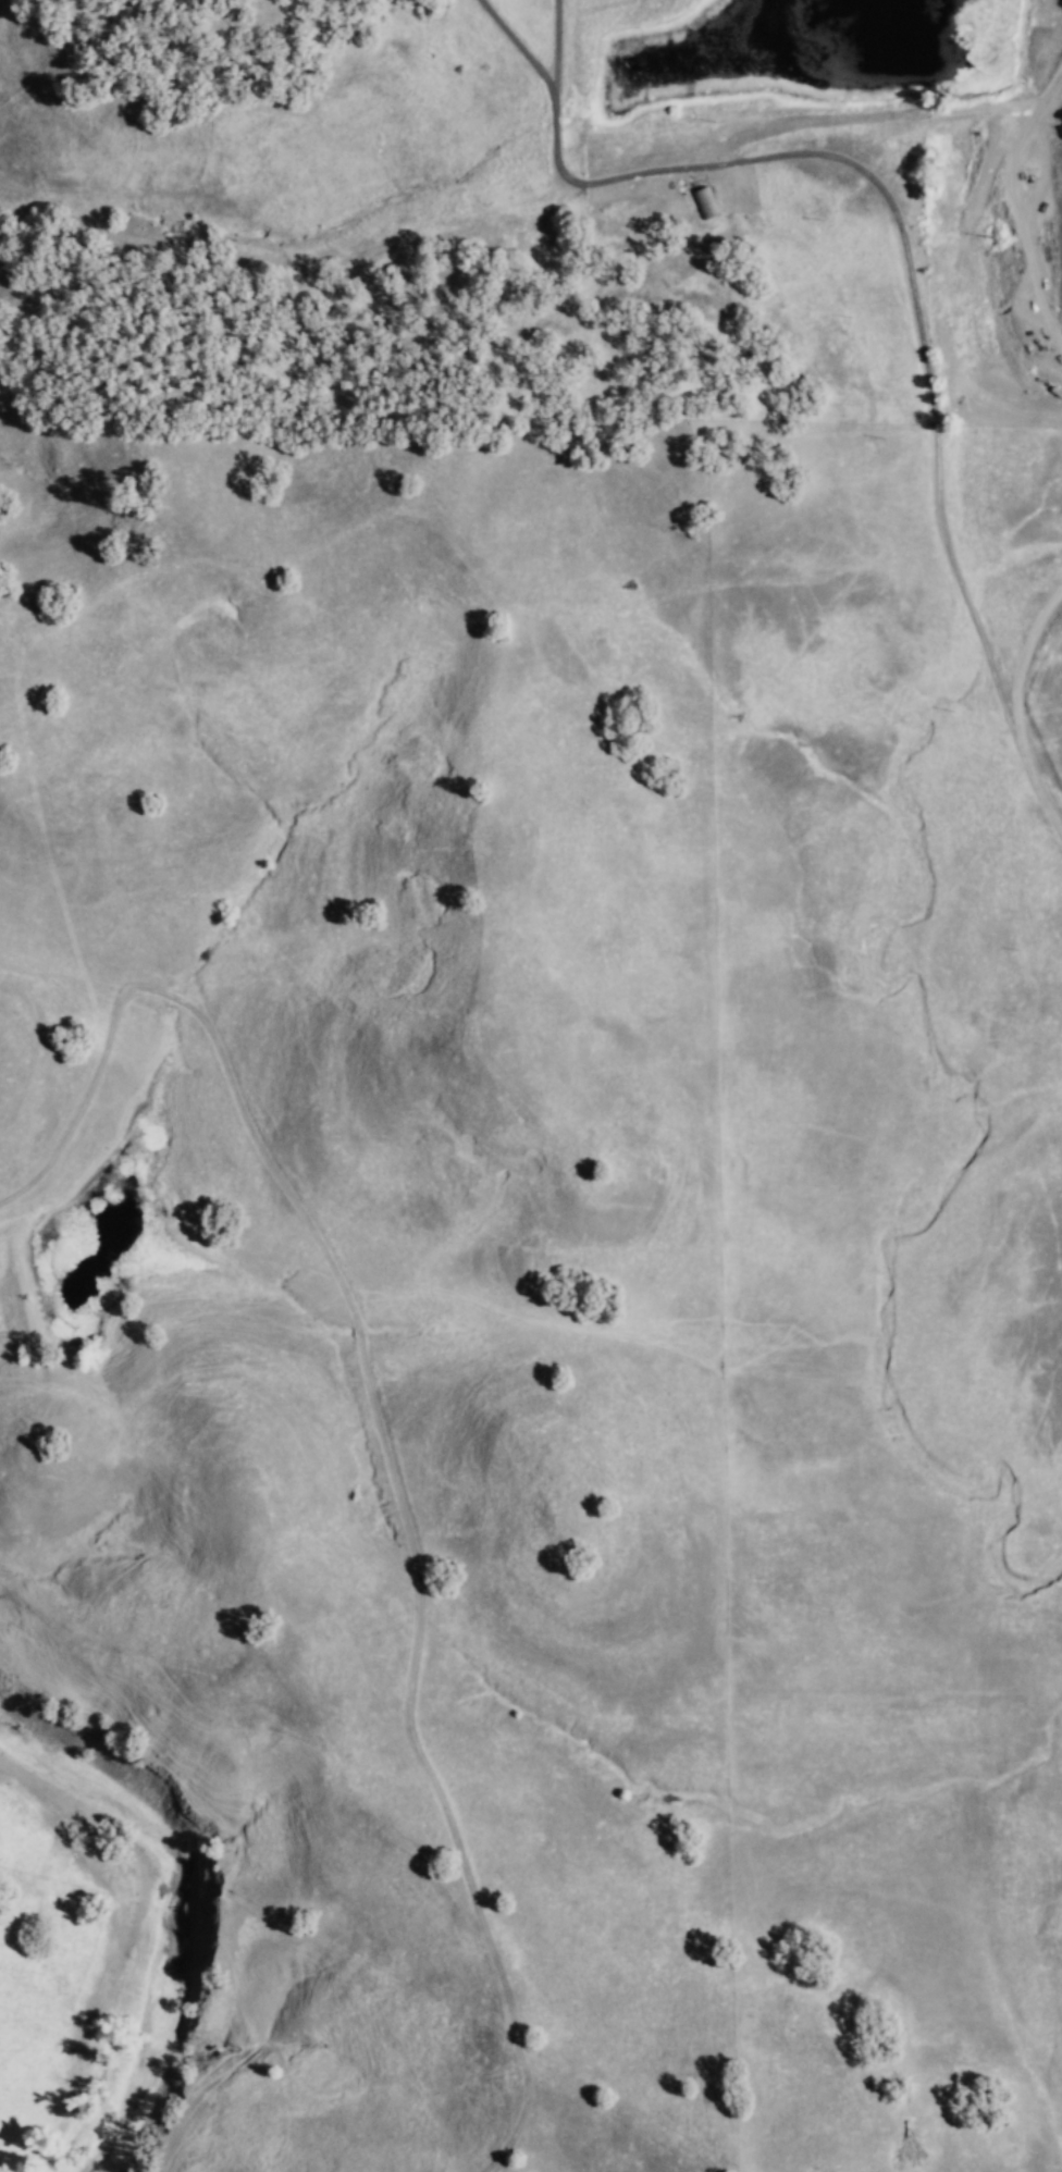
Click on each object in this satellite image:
road: (522, 46)
road: (560, 90)
road: (726, 168)
road: (941, 456)
road: (1022, 707)

